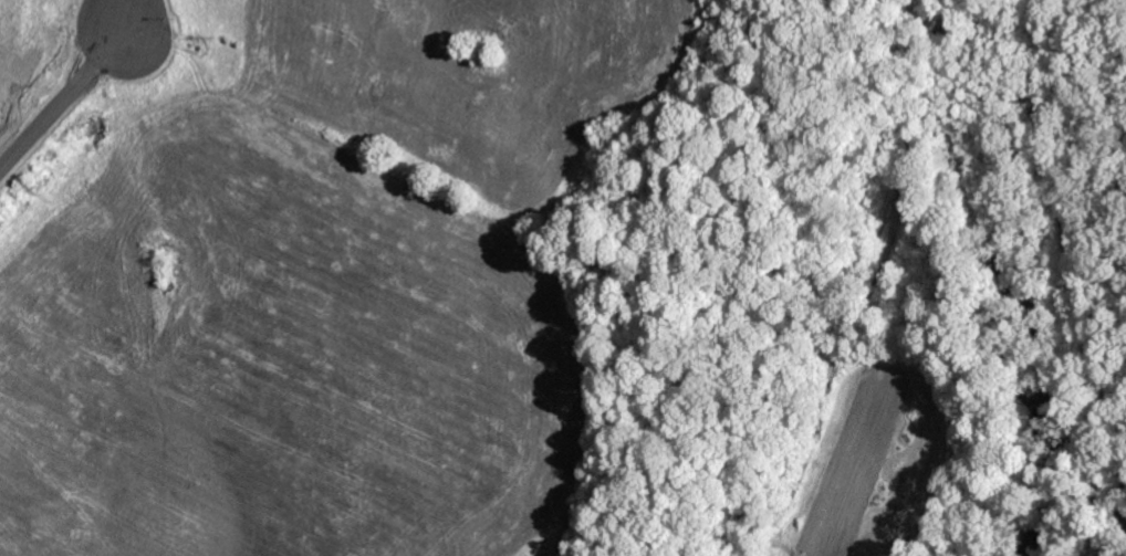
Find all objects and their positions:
road: (127, 15)
road: (62, 101)

